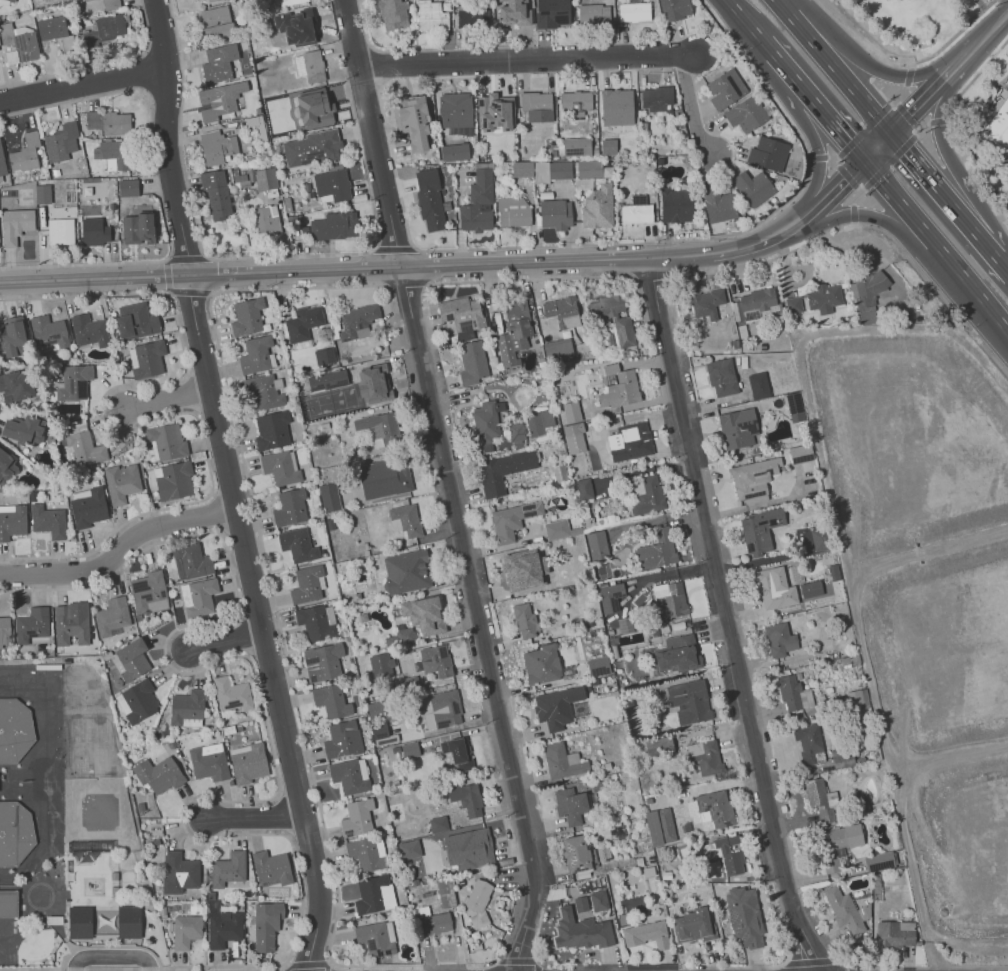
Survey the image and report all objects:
building: (12, 0)
building: (85, 0)
building: (213, 1)
building: (289, 2)
building: (3, 4)
building: (110, 4)
road: (975, 7)
building: (674, 9)
building: (633, 11)
building: (513, 13)
building: (392, 14)
building: (594, 14)
building: (472, 16)
building: (216, 22)
road: (741, 24)
park: (917, 25)
building: (51, 27)
building: (301, 28)
building: (104, 30)
road: (954, 36)
road: (984, 37)
building: (20, 41)
road: (381, 49)
road: (532, 61)
building: (218, 63)
road: (99, 65)
building: (309, 65)
road: (835, 66)
road: (376, 67)
road: (874, 68)
road: (781, 73)
road: (974, 77)
road: (84, 84)
building: (725, 88)
building: (655, 97)
building: (575, 99)
building: (219, 100)
road: (927, 100)
road: (893, 104)
building: (320, 106)
building: (536, 106)
building: (616, 106)
road: (690, 107)
building: (455, 109)
building: (494, 111)
road: (904, 112)
building: (747, 113)
traffic signals: (911, 115)
building: (412, 119)
building: (116, 123)
building: (995, 123)
road: (868, 124)
road: (832, 129)
road: (915, 130)
road: (372, 133)
building: (58, 141)
traffic signals: (846, 145)
building: (216, 146)
building: (576, 146)
building: (311, 147)
road: (876, 148)
traffic signals: (907, 150)
road: (943, 150)
building: (454, 151)
building: (24, 153)
building: (767, 153)
building: (116, 154)
road: (895, 155)
road: (837, 161)
road: (818, 163)
building: (2, 166)
road: (393, 168)
building: (521, 168)
building: (588, 168)
building: (552, 171)
traffic signals: (844, 178)
building: (265, 179)
road: (935, 182)
road: (156, 183)
building: (331, 184)
road: (854, 185)
building: (127, 187)
building: (753, 187)
road: (860, 187)
building: (42, 193)
building: (216, 194)
road: (826, 194)
building: (429, 199)
building: (638, 199)
building: (477, 203)
building: (718, 204)
building: (676, 205)
building: (597, 207)
building: (512, 211)
building: (555, 213)
building: (636, 213)
building: (266, 219)
road: (880, 219)
building: (14, 225)
building: (334, 225)
building: (137, 228)
building: (60, 231)
building: (94, 231)
road: (630, 243)
road: (935, 246)
road: (393, 248)
road: (859, 249)
road: (993, 249)
road: (315, 254)
road: (598, 258)
road: (769, 260)
road: (200, 274)
road: (166, 275)
road: (656, 276)
road: (530, 278)
road: (406, 285)
road: (297, 288)
building: (869, 289)
building: (823, 298)
building: (759, 299)
building: (707, 303)
building: (793, 304)
building: (559, 315)
building: (247, 316)
building: (613, 316)
building: (464, 317)
building: (135, 320)
building: (357, 321)
building: (303, 322)
building: (89, 329)
building: (515, 331)
building: (48, 332)
building: (11, 335)
building: (441, 342)
building: (557, 349)
building: (255, 354)
building: (324, 356)
building: (146, 358)
building: (472, 362)
building: (721, 376)
building: (327, 380)
building: (73, 382)
building: (373, 383)
building: (758, 385)
building: (15, 386)
building: (265, 390)
building: (620, 390)
road: (169, 404)
building: (794, 406)
building: (582, 409)
building: (572, 411)
building: (486, 422)
building: (538, 422)
building: (380, 426)
building: (22, 428)
building: (737, 428)
road: (120, 430)
building: (271, 430)
building: (516, 432)
building: (166, 441)
building: (575, 441)
building: (629, 441)
building: (84, 445)
building: (800, 453)
building: (280, 466)
building: (6, 467)
building: (503, 470)
building: (559, 473)
building: (384, 477)
building: (173, 479)
building: (753, 479)
building: (121, 482)
road: (232, 486)
building: (584, 489)
building: (645, 494)
building: (329, 496)
building: (87, 506)
building: (290, 507)
building: (512, 519)
building: (12, 520)
building: (47, 520)
building: (761, 528)
building: (559, 529)
building: (297, 544)
building: (597, 545)
road: (118, 548)
building: (656, 551)
building: (191, 562)
building: (406, 571)
building: (516, 572)
building: (832, 572)
building: (307, 583)
building: (779, 589)
building: (810, 589)
building: (148, 591)
building: (198, 596)
building: (610, 597)
building: (671, 602)
building: (423, 614)
building: (112, 615)
road: (728, 617)
road: (483, 620)
building: (317, 621)
building: (71, 622)
building: (525, 622)
building: (31, 624)
building: (676, 626)
building: (663, 629)
building: (4, 630)
building: (402, 636)
building: (779, 640)
road: (228, 644)
building: (613, 645)
building: (678, 655)
building: (131, 659)
building: (435, 660)
building: (568, 661)
building: (322, 662)
building: (541, 664)
building: (598, 666)
road: (289, 673)
building: (594, 682)
building: (231, 693)
building: (793, 694)
building: (820, 698)
building: (853, 698)
building: (331, 700)
building: (137, 701)
building: (629, 702)
building: (689, 702)
building: (556, 706)
building: (186, 708)
building: (441, 709)
road: (453, 727)
building: (14, 730)
building: (383, 735)
building: (342, 739)
building: (807, 742)
building: (659, 745)
building: (410, 750)
building: (458, 752)
building: (704, 756)
building: (841, 756)
building: (208, 761)
building: (247, 762)
building: (560, 763)
building: (158, 774)
building: (349, 775)
road: (277, 787)
building: (466, 798)
building: (649, 799)
building: (818, 800)
building: (569, 805)
building: (714, 809)
road: (257, 817)
building: (357, 817)
building: (437, 823)
building: (660, 826)
building: (14, 832)
building: (852, 835)
building: (408, 848)
building: (469, 848)
building: (366, 853)
building: (575, 853)
building: (724, 853)
building: (649, 860)
building: (879, 860)
building: (271, 866)
building: (228, 868)
building: (178, 872)
building: (114, 875)
building: (675, 878)
building: (115, 890)
building: (445, 893)
building: (373, 894)
building: (591, 902)
building: (9, 903)
building: (476, 903)
building: (845, 909)
building: (745, 916)
building: (55, 919)
building: (105, 921)
building: (434, 922)
building: (266, 924)
building: (693, 925)
building: (223, 927)
building: (580, 929)
building: (185, 930)
building: (895, 933)
building: (646, 934)
building: (376, 937)
road: (113, 956)
road: (811, 961)
road: (521, 962)
road: (308, 963)
road: (489, 964)
road: (450, 966)
road: (478, 969)

